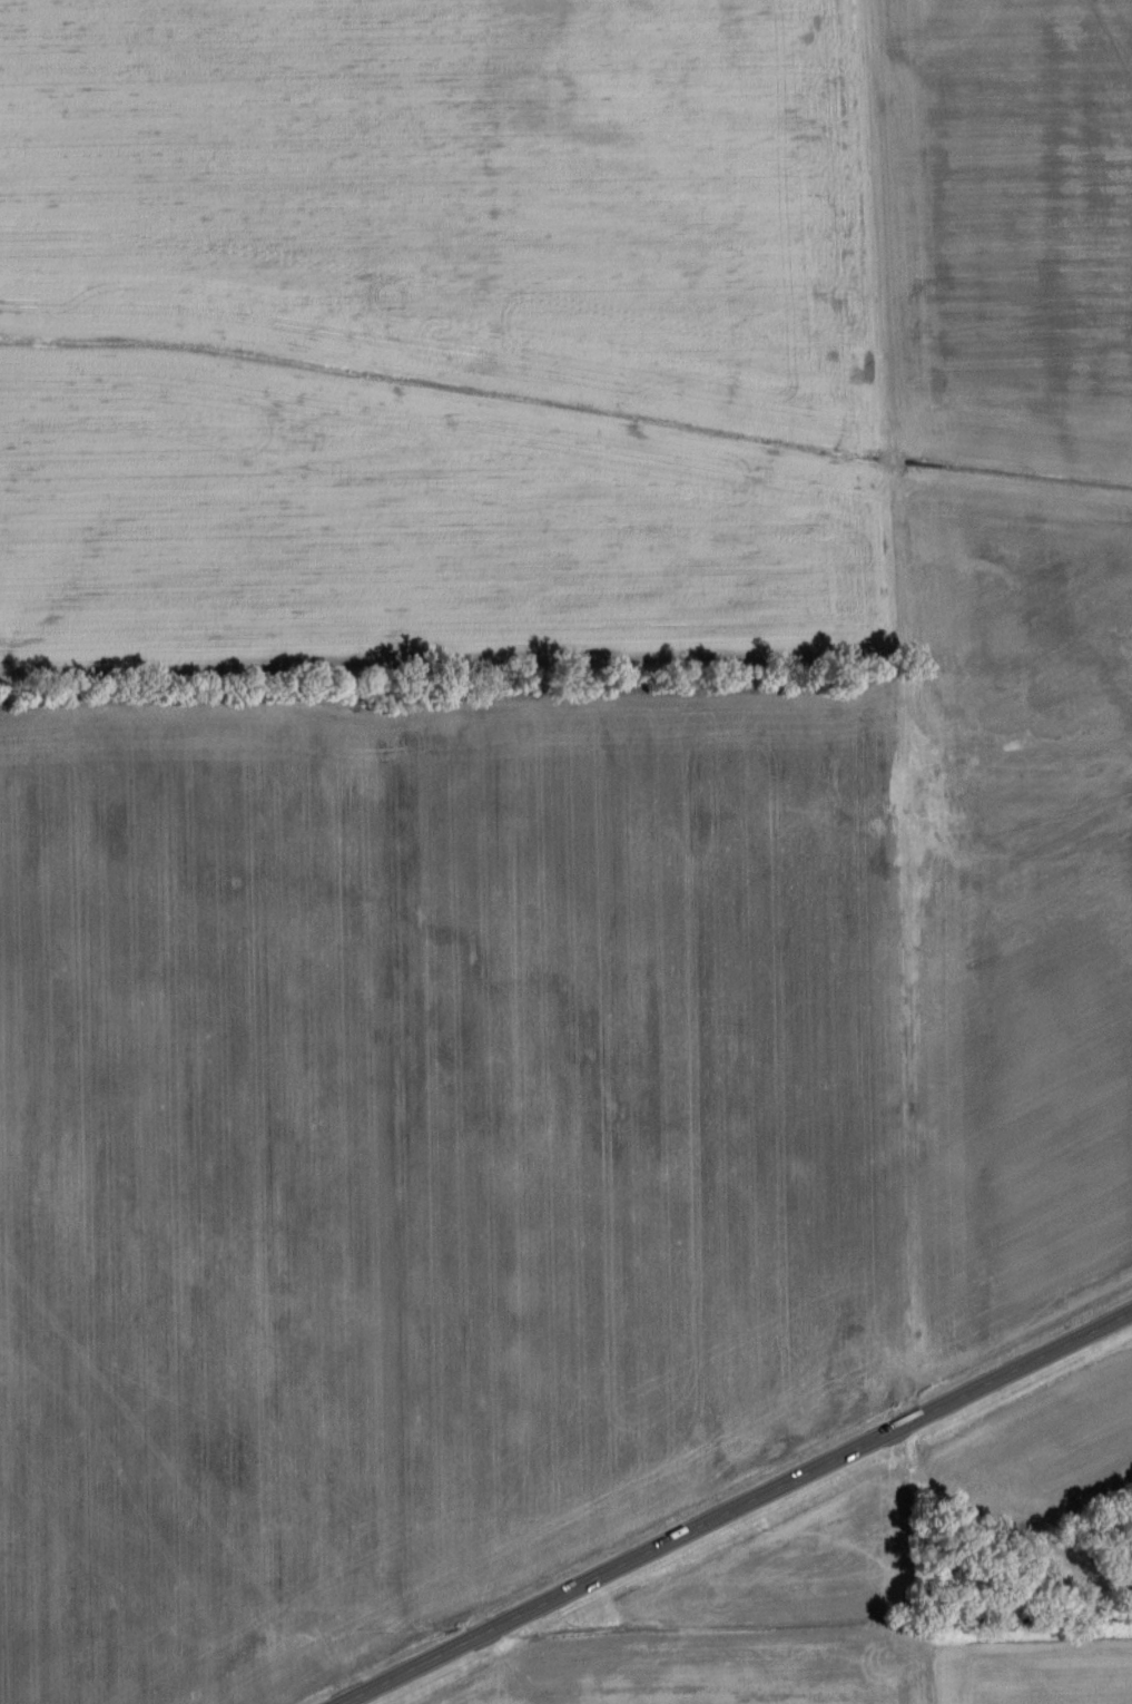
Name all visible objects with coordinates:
road: (738, 1500)

